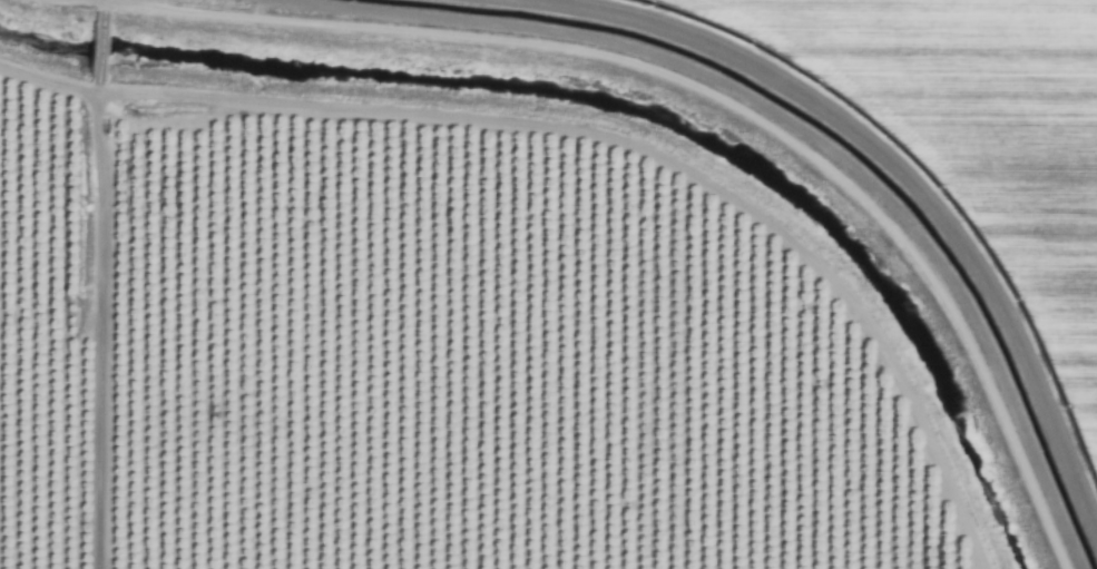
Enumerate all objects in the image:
road: (688, 88)
road: (600, 136)
road: (90, 286)
road: (45, 317)

